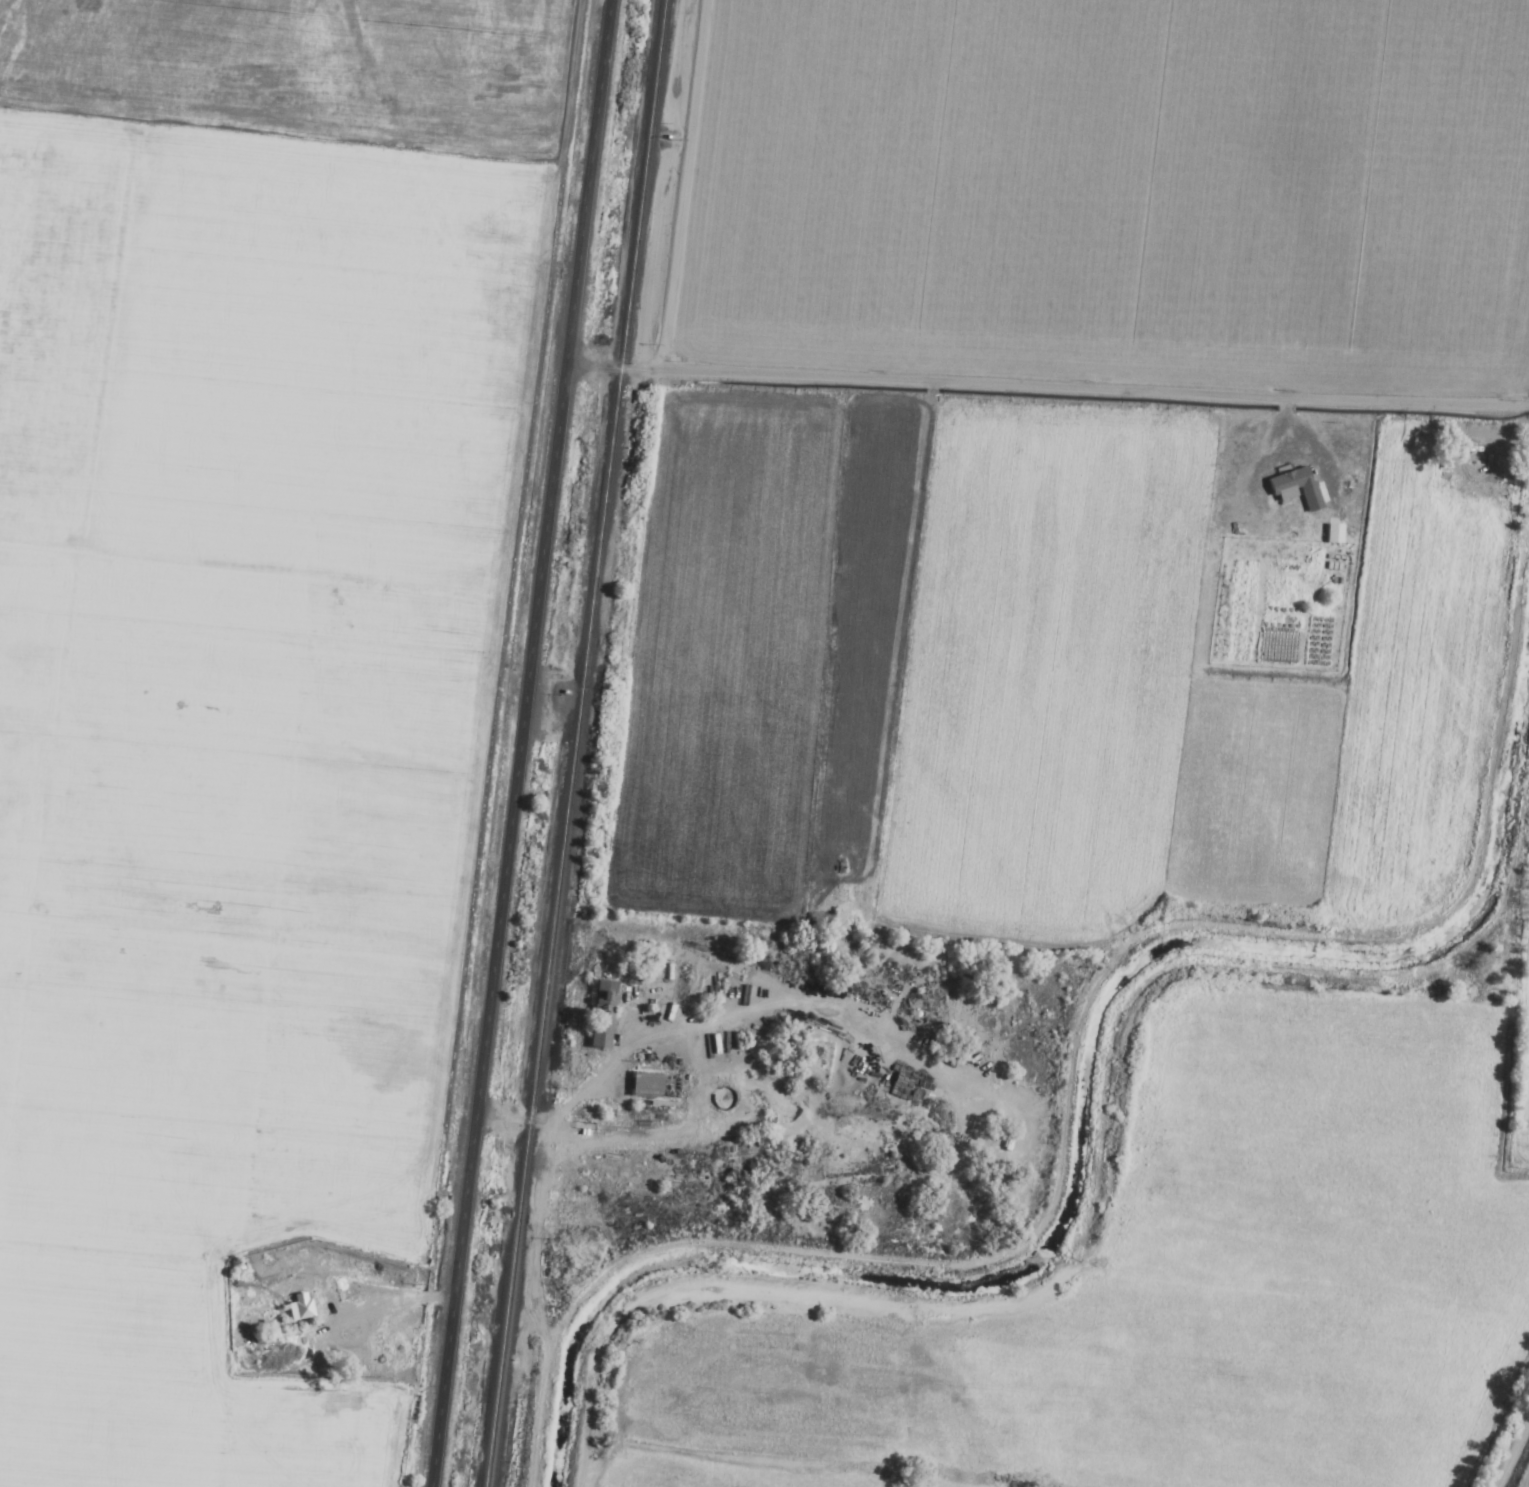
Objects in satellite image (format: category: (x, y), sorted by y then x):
road: (1046, 376)
building: (1294, 487)
building: (1330, 534)
road: (517, 743)
railway: (572, 743)
building: (598, 1015)
building: (642, 1085)
building: (297, 1307)
road: (1507, 1441)

